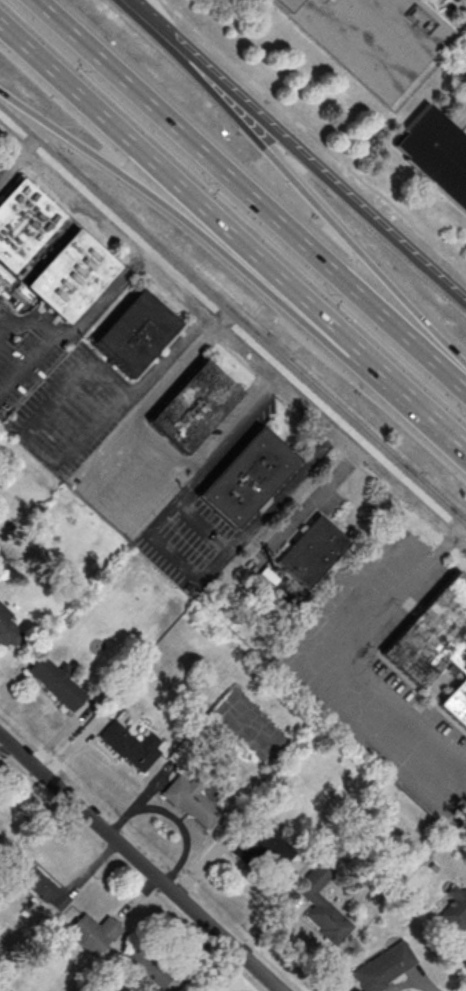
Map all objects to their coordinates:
road: (137, 8)
building: (370, 37)
road: (222, 79)
road: (21, 107)
road: (315, 137)
building: (436, 156)
road: (18, 161)
road: (304, 189)
road: (251, 195)
road: (381, 220)
road: (218, 221)
building: (47, 252)
road: (241, 268)
road: (86, 319)
road: (233, 320)
building: (135, 333)
road: (465, 362)
road: (29, 363)
road: (154, 374)
road: (266, 383)
road: (148, 400)
building: (193, 405)
road: (450, 435)
road: (36, 451)
building: (246, 476)
road: (317, 497)
road: (205, 526)
building: (310, 551)
road: (176, 558)
building: (266, 576)
building: (7, 628)
building: (436, 644)
road: (346, 654)
building: (56, 684)
building: (126, 747)
building: (191, 801)
building: (262, 846)
road: (139, 863)
building: (35, 880)
building: (455, 909)
building: (323, 915)
building: (92, 933)
building: (150, 965)
building: (386, 967)

